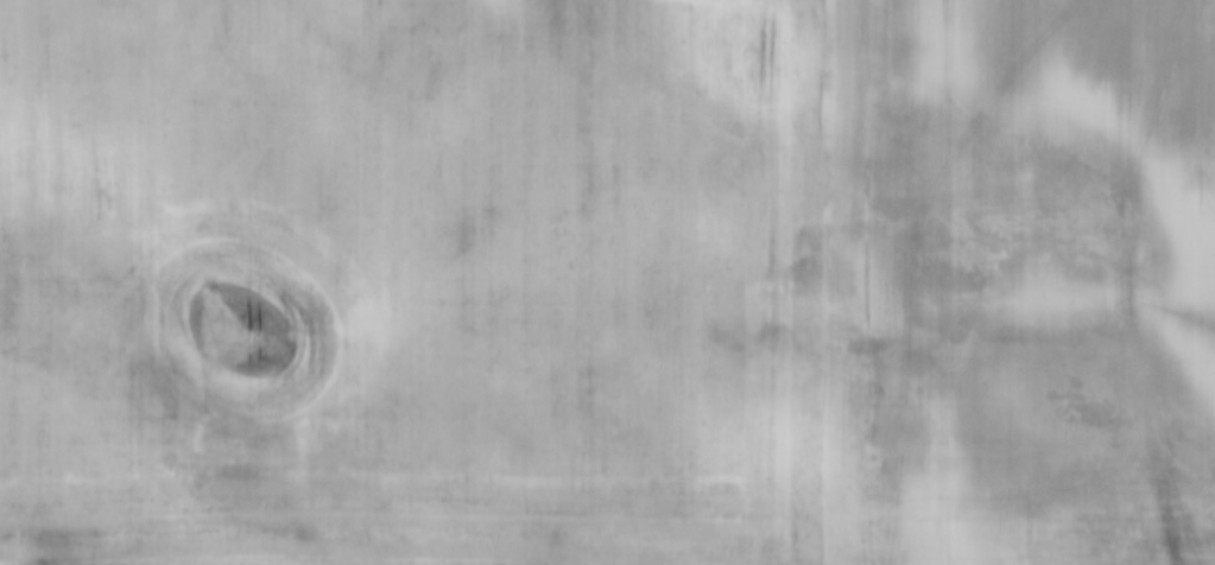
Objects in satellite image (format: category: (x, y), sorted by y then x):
road: (867, 282)

